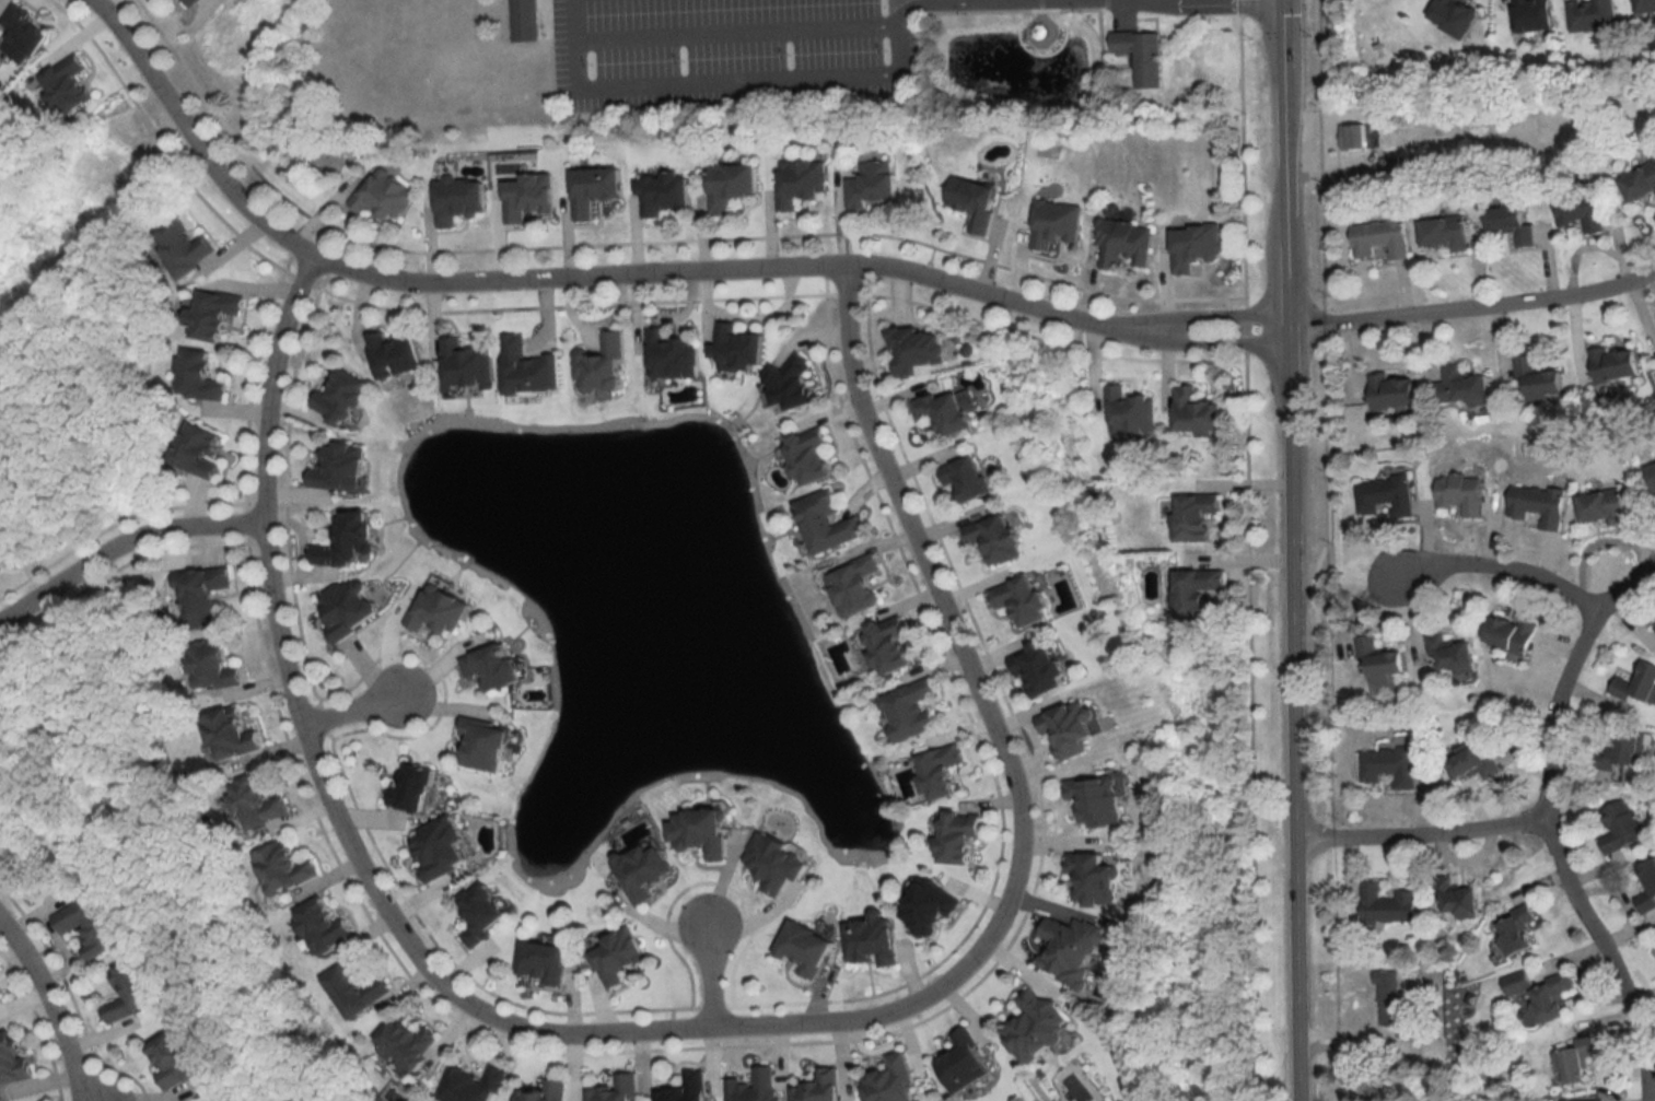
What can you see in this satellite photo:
building: (194, 2)
building: (1645, 5)
building: (1535, 15)
building: (1594, 15)
building: (525, 20)
road: (735, 32)
building: (23, 35)
building: (1143, 56)
road: (739, 81)
building: (67, 86)
building: (1354, 137)
building: (801, 183)
building: (873, 184)
building: (733, 185)
building: (1641, 185)
building: (594, 190)
building: (384, 195)
building: (665, 195)
building: (528, 198)
building: (459, 200)
building: (976, 202)
building: (1582, 210)
building: (1057, 223)
building: (1514, 223)
building: (1445, 233)
power tower: (49, 236)
building: (1382, 238)
building: (1124, 243)
building: (178, 244)
building: (1194, 246)
road: (560, 284)
road: (1475, 314)
building: (214, 315)
road: (1154, 331)
building: (737, 347)
building: (918, 350)
building: (396, 354)
building: (672, 355)
building: (466, 364)
building: (602, 365)
building: (1616, 365)
building: (528, 368)
building: (200, 376)
building: (1540, 380)
building: (792, 386)
building: (1465, 387)
building: (1394, 393)
building: (342, 400)
building: (946, 412)
building: (1129, 412)
building: (1198, 414)
building: (198, 450)
building: (811, 456)
building: (337, 468)
building: (1652, 473)
building: (967, 478)
building: (1461, 493)
building: (1384, 495)
building: (1538, 506)
building: (1604, 508)
building: (1196, 518)
building: (827, 524)
road: (166, 538)
building: (997, 538)
building: (347, 541)
road: (1291, 550)
road: (1504, 566)
building: (856, 587)
building: (1197, 592)
building: (201, 598)
building: (1023, 600)
road: (37, 605)
building: (438, 608)
building: (349, 609)
building: (1512, 634)
building: (890, 645)
building: (1453, 655)
building: (1382, 663)
building: (215, 667)
building: (492, 667)
building: (1040, 668)
road: (1565, 671)
building: (1639, 686)
building: (4, 702)
building: (911, 708)
road: (358, 716)
building: (1071, 728)
building: (231, 734)
building: (486, 746)
building: (1622, 749)
road: (1004, 752)
building: (1475, 764)
building: (1388, 766)
building: (942, 771)
road: (322, 777)
building: (413, 789)
building: (1098, 799)
building: (256, 804)
building: (1621, 827)
building: (700, 830)
road: (1421, 833)
building: (960, 836)
building: (440, 847)
building: (777, 860)
building: (284, 867)
building: (643, 869)
building: (1095, 877)
building: (1650, 878)
building: (1458, 898)
building: (1388, 904)
building: (931, 907)
building: (482, 915)
building: (91, 924)
building: (325, 924)
building: (1517, 930)
building: (874, 939)
building: (808, 948)
building: (1072, 949)
building: (619, 954)
road: (1608, 954)
building: (545, 961)
road: (714, 977)
building: (357, 989)
building: (131, 991)
building: (1542, 993)
building: (0, 997)
building: (1388, 998)
road: (51, 1009)
building: (1038, 1026)
building: (406, 1041)
building: (13, 1057)
building: (177, 1058)
building: (1576, 1059)
building: (967, 1061)
building: (894, 1081)
building: (471, 1085)
building: (757, 1086)
building: (821, 1087)
building: (688, 1088)
building: (618, 1089)
building: (546, 1091)
building: (1584, 1100)

